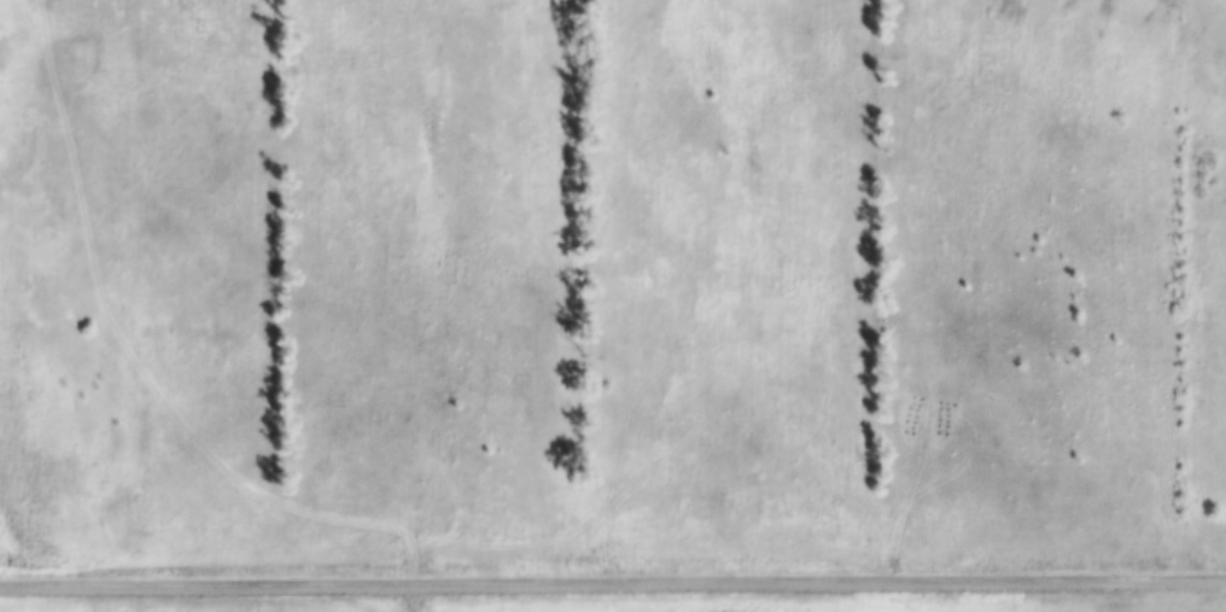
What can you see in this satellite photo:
road: (613, 582)

